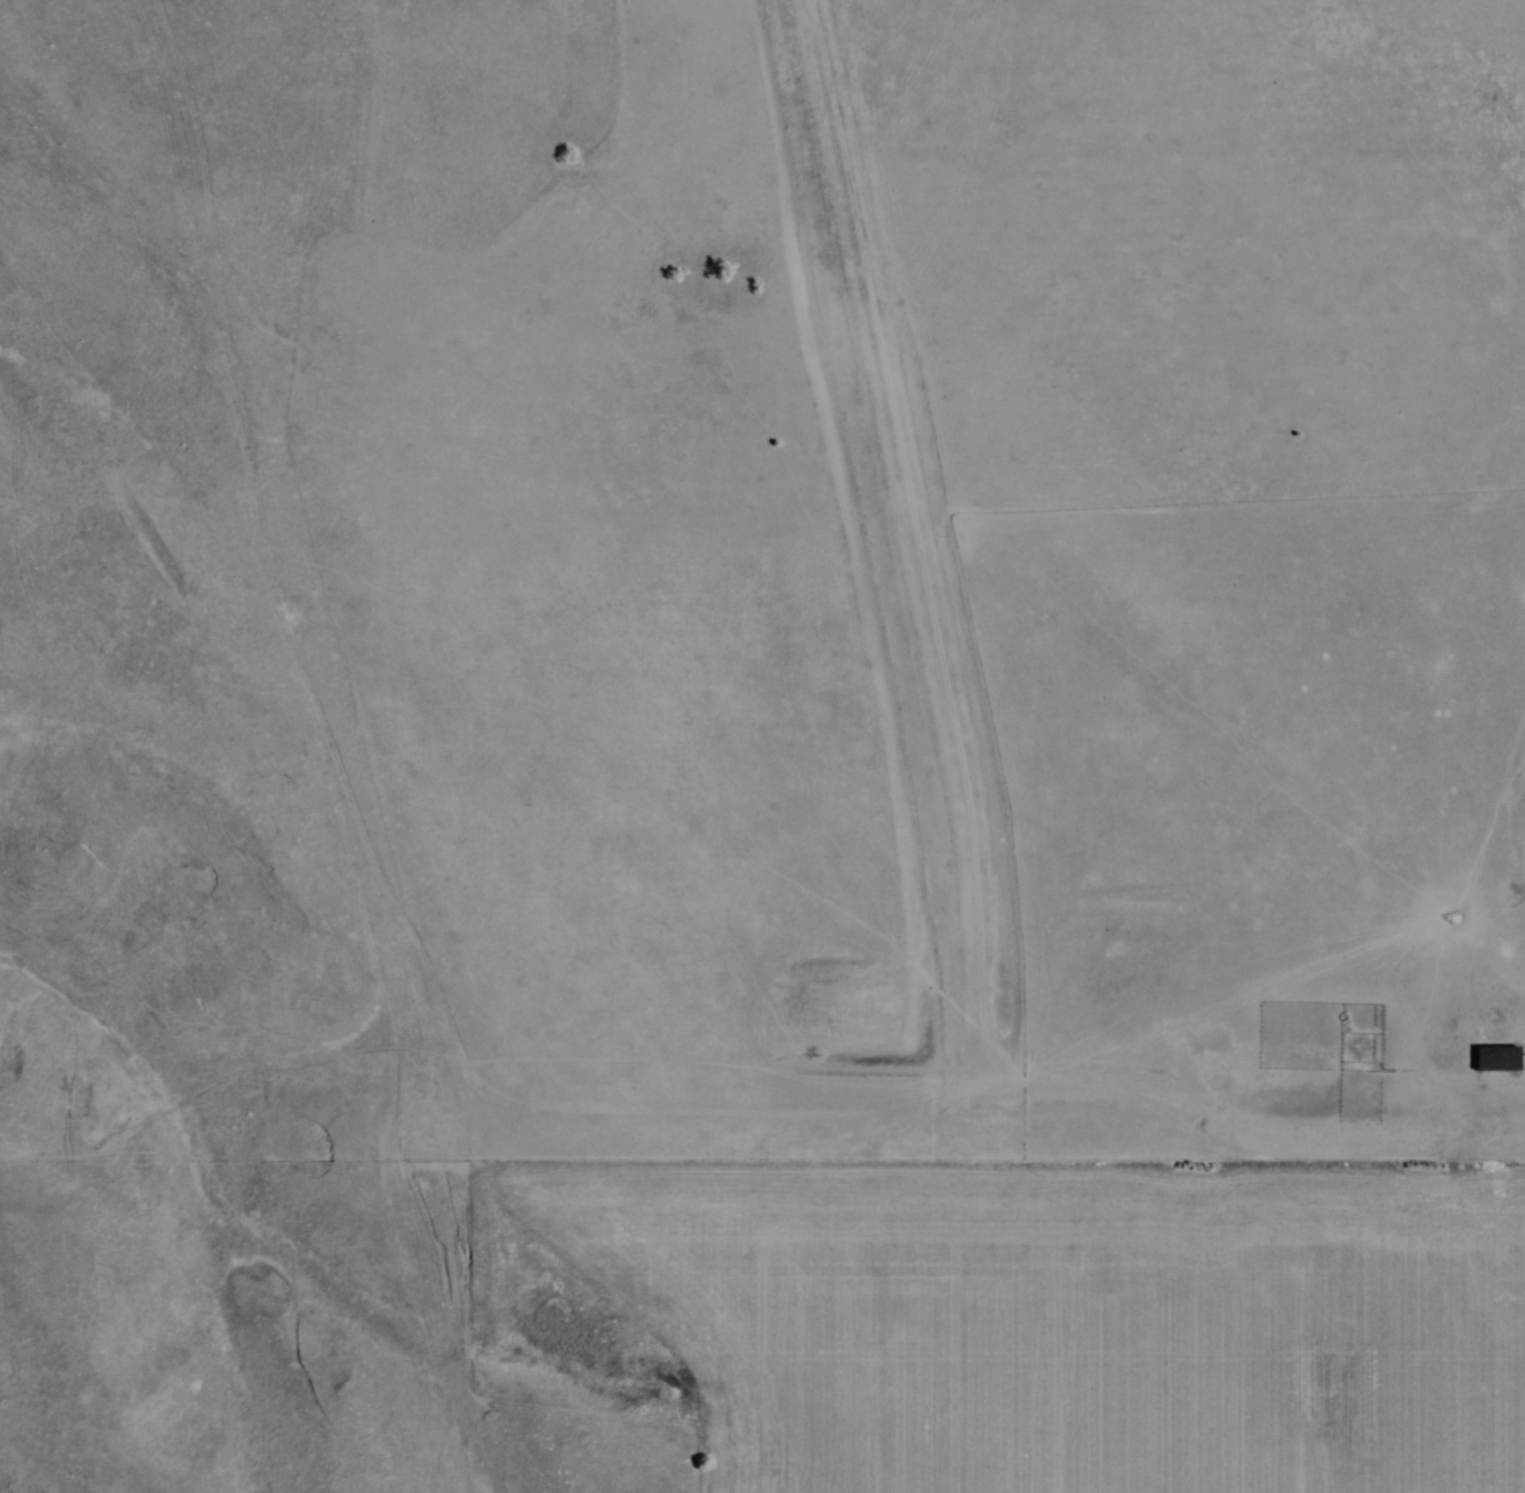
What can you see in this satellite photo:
building: (1494, 1059)

